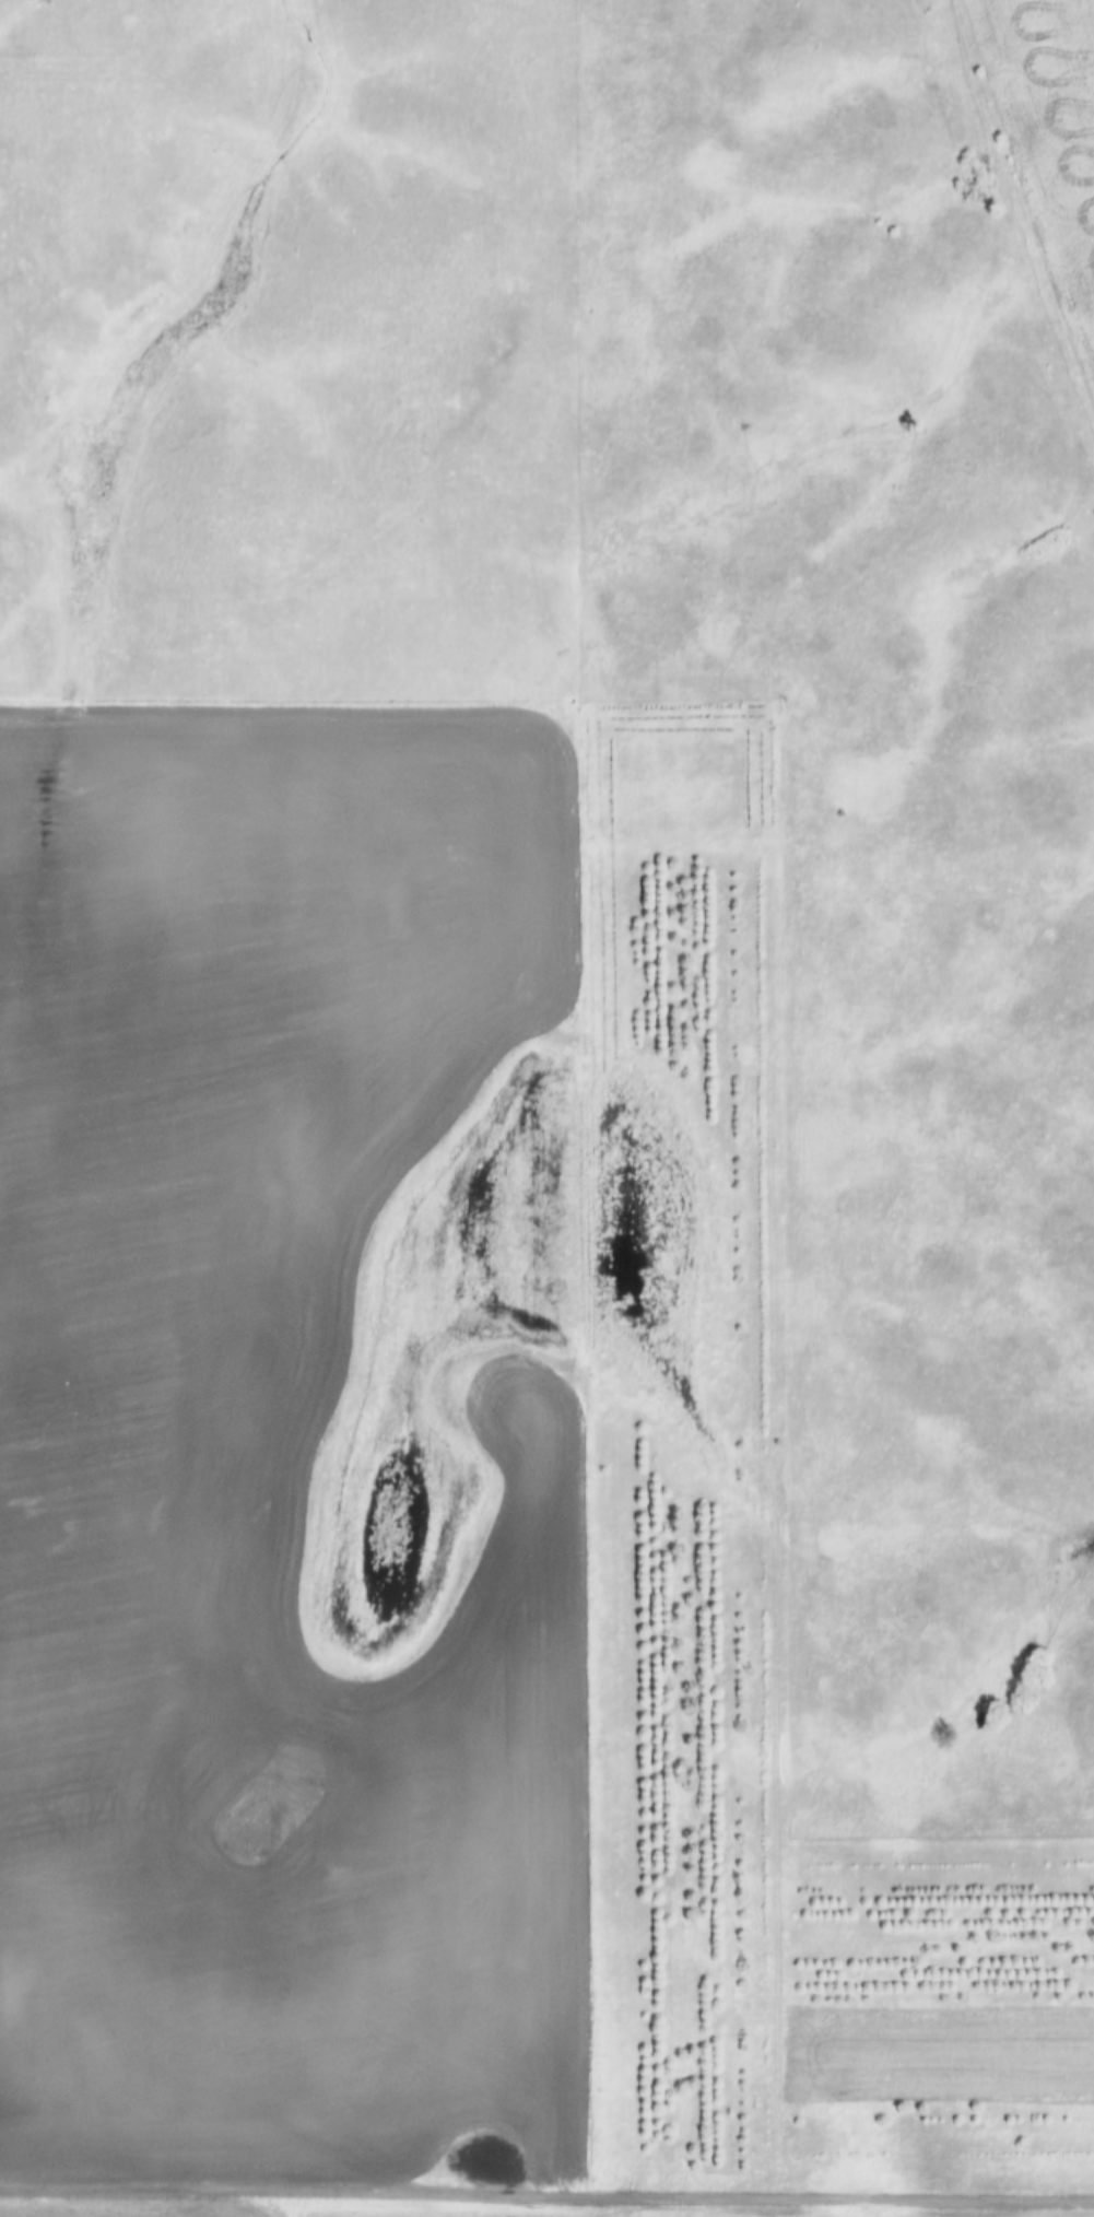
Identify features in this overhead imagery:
road: (546, 2196)

